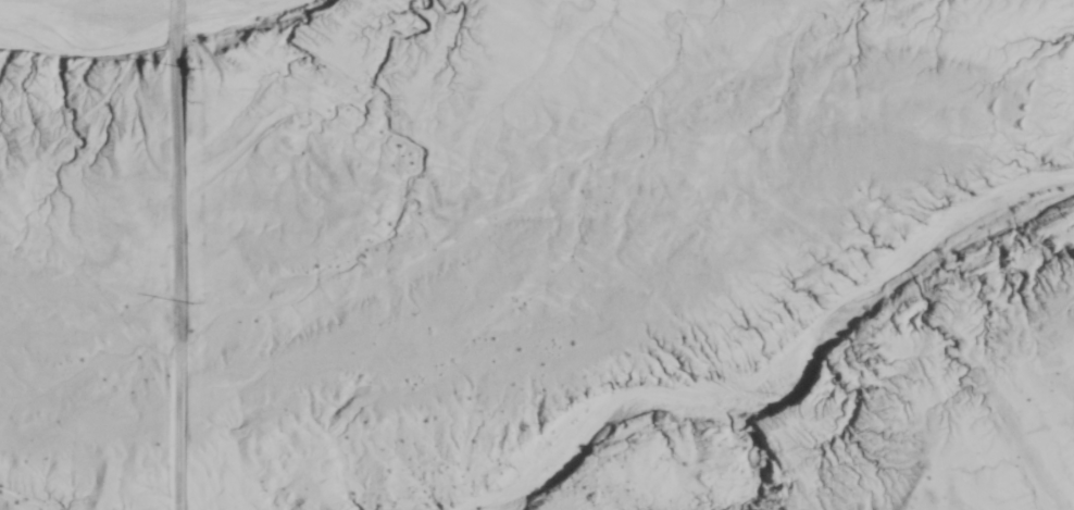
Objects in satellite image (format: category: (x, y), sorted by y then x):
road: (137, 28)
road: (177, 254)

